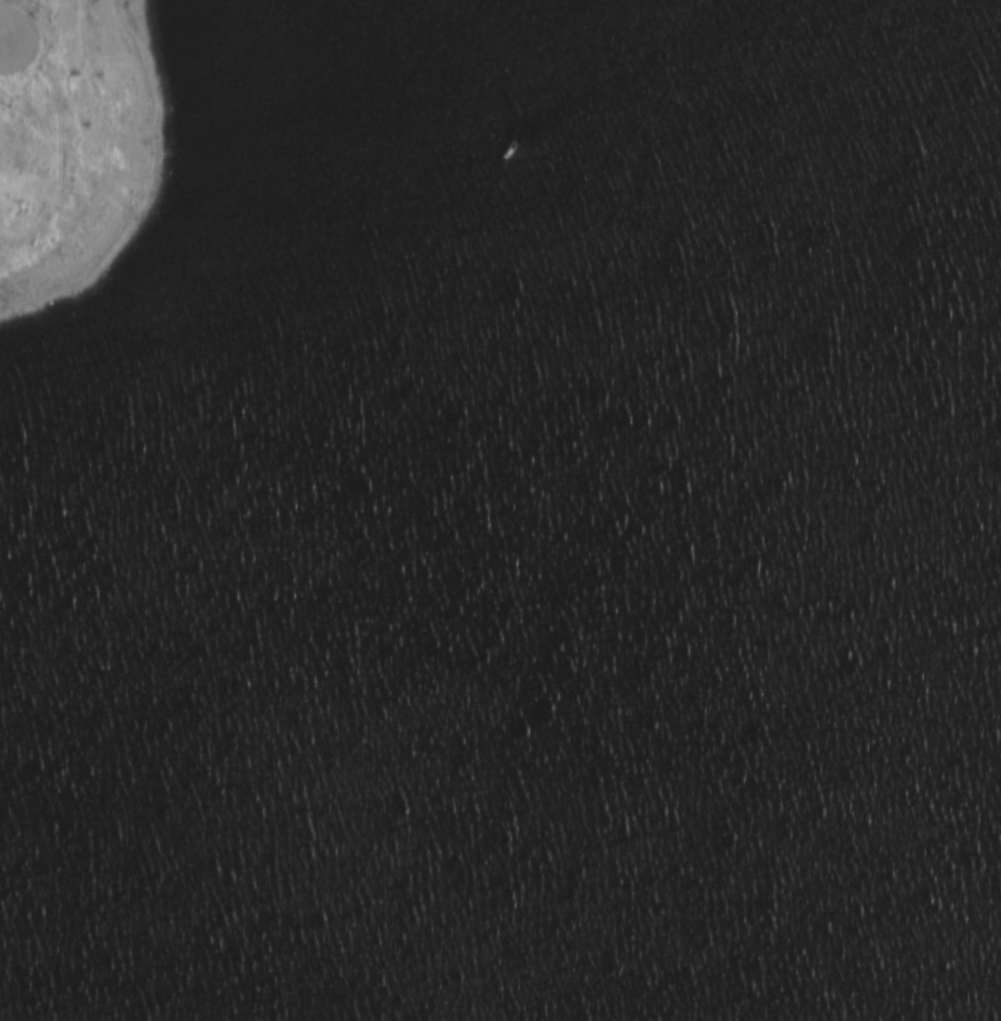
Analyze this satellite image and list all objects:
road: (9, 52)

